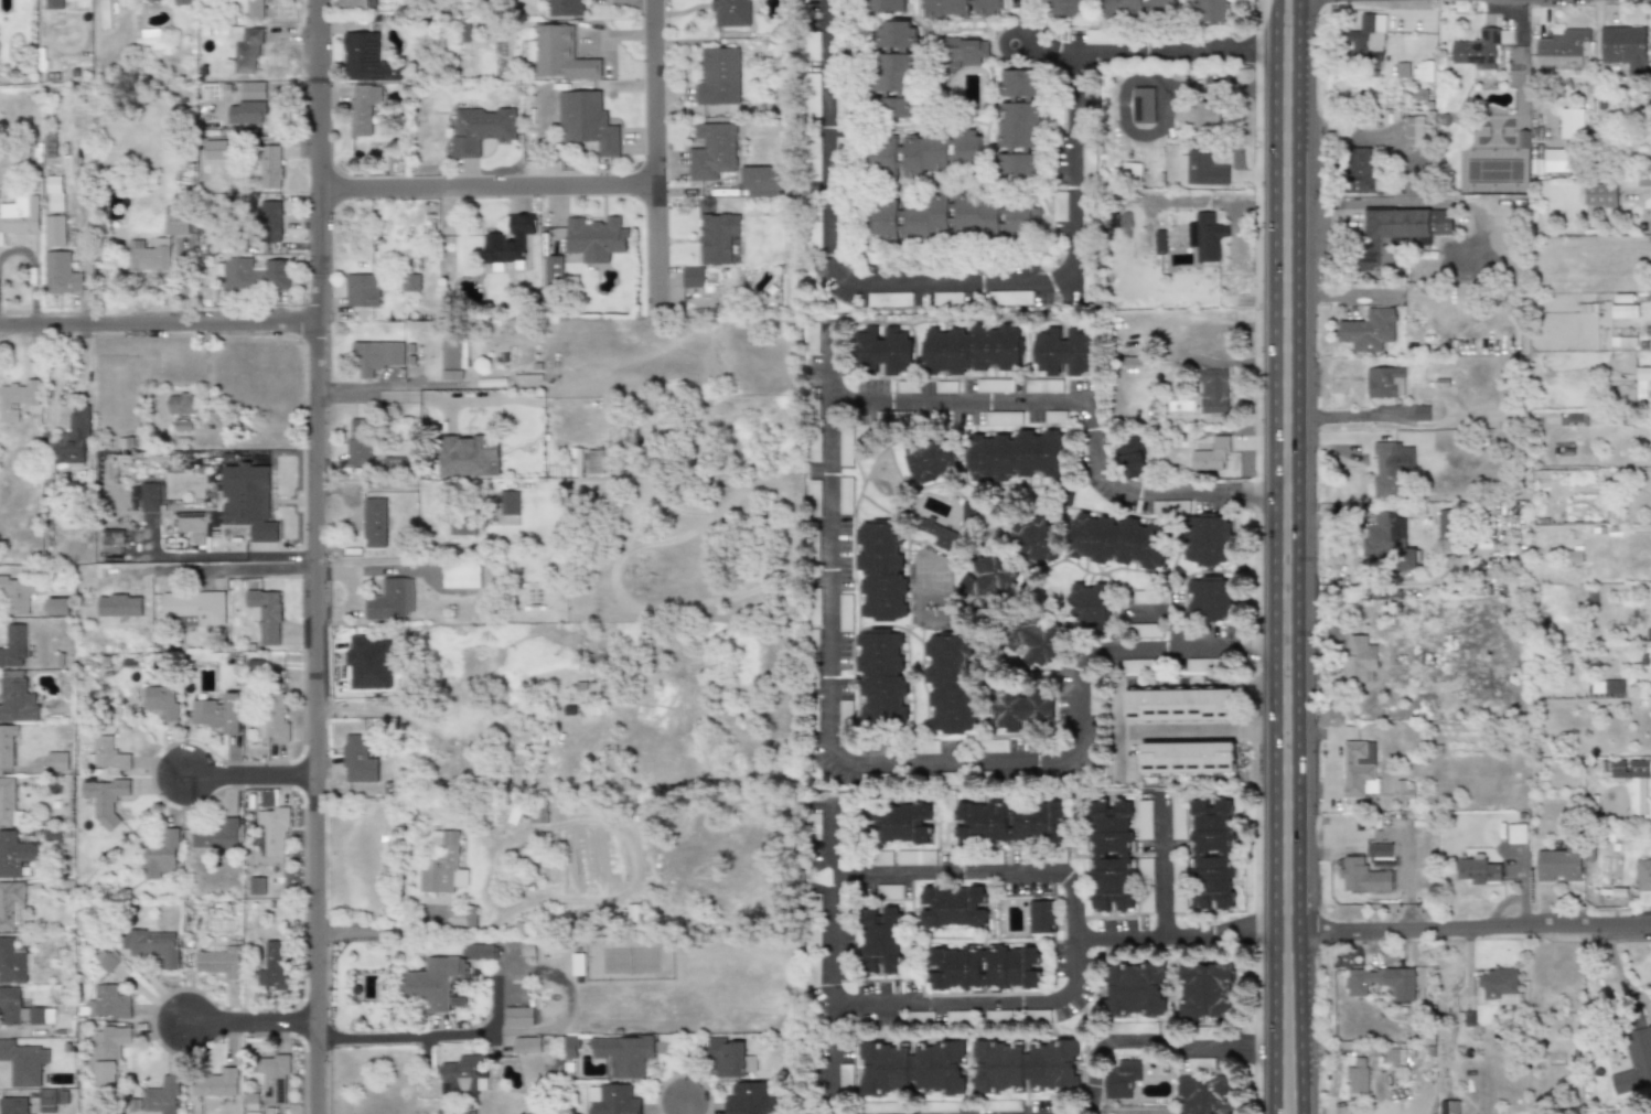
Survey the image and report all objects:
building: (169, 1)
building: (355, 3)
building: (53, 4)
building: (1162, 4)
building: (886, 6)
building: (566, 8)
building: (961, 8)
building: (1064, 8)
building: (1125, 9)
building: (254, 10)
building: (1211, 10)
building: (730, 12)
building: (105, 13)
building: (897, 35)
building: (1505, 35)
building: (1098, 36)
building: (1368, 38)
building: (814, 46)
building: (1563, 47)
road: (1136, 49)
building: (1623, 49)
building: (245, 50)
building: (558, 53)
building: (964, 53)
building: (1477, 53)
building: (366, 58)
building: (1402, 69)
building: (1422, 71)
building: (893, 73)
building: (718, 76)
building: (1019, 85)
road: (648, 95)
building: (814, 95)
building: (1145, 105)
building: (841, 106)
building: (892, 107)
building: (248, 108)
building: (362, 108)
building: (1204, 115)
building: (586, 120)
building: (480, 129)
building: (1414, 130)
building: (1019, 142)
building: (214, 149)
building: (967, 149)
building: (712, 151)
building: (841, 152)
building: (909, 154)
building: (814, 158)
building: (1555, 160)
building: (1087, 161)
building: (270, 167)
building: (1204, 170)
building: (1132, 172)
building: (1360, 172)
building: (761, 181)
building: (1634, 181)
building: (54, 193)
road: (480, 193)
building: (1599, 193)
building: (19, 216)
building: (977, 217)
building: (926, 218)
building: (176, 219)
building: (1021, 219)
building: (270, 221)
building: (885, 221)
building: (1650, 224)
building: (814, 228)
building: (56, 232)
building: (1397, 236)
building: (717, 237)
building: (1207, 237)
building: (594, 238)
building: (508, 240)
building: (1159, 242)
building: (149, 255)
road: (650, 261)
building: (551, 269)
building: (61, 274)
building: (255, 275)
building: (693, 277)
building: (409, 282)
road: (922, 285)
building: (362, 289)
building: (951, 298)
building: (1009, 298)
building: (889, 299)
building: (1623, 311)
building: (1369, 330)
road: (156, 334)
building: (1619, 342)
building: (973, 350)
building: (881, 352)
building: (1061, 352)
building: (408, 353)
building: (376, 355)
building: (452, 358)
building: (1385, 382)
building: (1642, 382)
building: (994, 385)
building: (1042, 386)
road: (364, 387)
building: (907, 387)
building: (945, 387)
building: (1212, 392)
building: (17, 397)
building: (181, 403)
road: (1058, 405)
building: (1422, 413)
building: (893, 417)
building: (1054, 417)
building: (1003, 418)
building: (72, 440)
building: (360, 441)
building: (846, 446)
building: (468, 456)
building: (1016, 456)
building: (1210, 456)
building: (1130, 457)
building: (594, 461)
building: (930, 461)
road: (387, 486)
road: (1255, 492)
building: (845, 495)
building: (151, 496)
building: (813, 499)
building: (247, 500)
building: (508, 502)
building: (1169, 507)
building: (373, 522)
building: (1444, 522)
building: (462, 523)
building: (940, 536)
building: (111, 540)
building: (1117, 540)
building: (1207, 540)
building: (1389, 540)
building: (1034, 543)
road: (311, 557)
road: (1285, 557)
road: (231, 570)
building: (882, 571)
building: (987, 582)
building: (20, 591)
building: (1150, 597)
building: (1210, 598)
building: (390, 599)
building: (57, 606)
building: (119, 606)
building: (1089, 607)
building: (194, 609)
building: (845, 612)
building: (265, 614)
building: (1144, 630)
building: (1031, 641)
building: (14, 646)
building: (1359, 660)
building: (368, 662)
building: (1139, 666)
road: (1256, 668)
building: (882, 677)
building: (951, 684)
building: (1607, 686)
building: (15, 697)
building: (162, 700)
building: (1179, 705)
building: (1020, 710)
building: (219, 713)
building: (845, 718)
building: (274, 719)
road: (1202, 731)
building: (7, 746)
building: (107, 756)
building: (357, 759)
building: (1186, 759)
building: (57, 761)
building: (1358, 768)
building: (1623, 768)
road: (249, 776)
road: (839, 783)
building: (104, 792)
building: (1402, 792)
building: (9, 801)
building: (1144, 820)
building: (1178, 820)
building: (1010, 823)
building: (896, 824)
building: (275, 828)
building: (217, 834)
building: (1515, 834)
building: (1377, 849)
building: (1211, 853)
building: (11, 854)
building: (161, 854)
building: (1111, 856)
building: (915, 857)
building: (879, 858)
building: (442, 864)
building: (1557, 865)
building: (1145, 870)
building: (1478, 870)
building: (1176, 872)
building: (1642, 874)
building: (1363, 876)
road: (1156, 883)
building: (257, 886)
building: (889, 891)
building: (1146, 901)
building: (12, 906)
building: (953, 907)
building: (461, 915)
building: (1040, 917)
road: (1467, 929)
road: (360, 932)
building: (880, 940)
road: (1172, 944)
building: (153, 945)
building: (482, 951)
building: (107, 960)
building: (14, 961)
building: (217, 964)
building: (577, 964)
building: (274, 967)
building: (984, 968)
road: (1619, 972)
building: (432, 982)
building: (1382, 982)
building: (1499, 985)
building: (1134, 989)
building: (1205, 992)
building: (108, 1003)
building: (21, 1010)
building: (515, 1016)
building: (920, 1017)
building: (997, 1017)
building: (957, 1018)
road: (250, 1026)
road: (1026, 1026)
building: (1118, 1028)
road: (432, 1037)
building: (527, 1045)
building: (571, 1047)
road: (1162, 1050)
road: (822, 1051)
building: (107, 1054)
building: (622, 1054)
building: (1394, 1056)
building: (729, 1057)
building: (1636, 1062)
building: (22, 1063)
building: (1053, 1065)
building: (999, 1067)
building: (939, 1068)
building: (886, 1069)
building: (464, 1075)
building: (1357, 1075)
building: (845, 1076)
building: (275, 1079)
building: (1121, 1079)
building: (217, 1083)
building: (165, 1095)
building: (1203, 1095)
building: (746, 1099)
building: (254, 1100)
building: (612, 1100)
building: (52, 1101)
building: (12, 1105)
building: (1000, 1105)
building: (936, 1106)
building: (1448, 1107)

